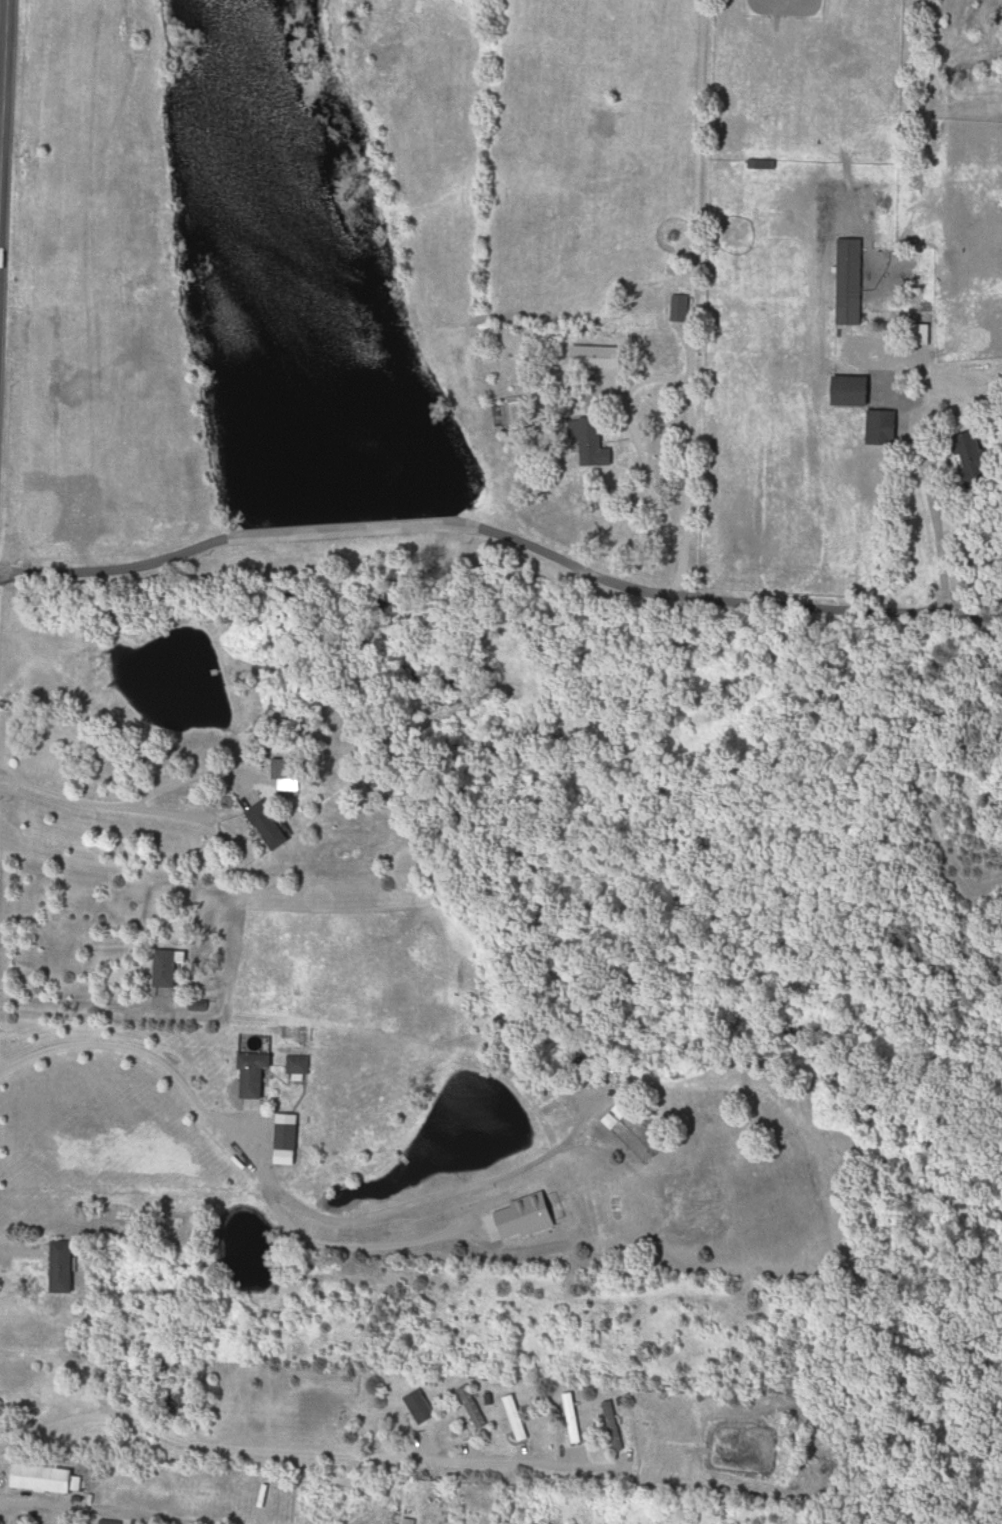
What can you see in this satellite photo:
road: (2, 64)
building: (764, 165)
building: (844, 283)
building: (681, 309)
building: (603, 361)
building: (844, 391)
road: (627, 399)
road: (923, 412)
building: (877, 428)
building: (592, 442)
road: (452, 529)
road: (682, 579)
road: (948, 613)
building: (288, 770)
road: (61, 797)
road: (196, 797)
building: (271, 826)
building: (170, 969)
building: (300, 1065)
building: (258, 1074)
building: (292, 1133)
road: (231, 1144)
road: (425, 1200)
building: (67, 1268)
building: (423, 1408)
building: (475, 1409)
building: (518, 1419)
building: (614, 1427)
road: (301, 1454)
building: (46, 1480)

